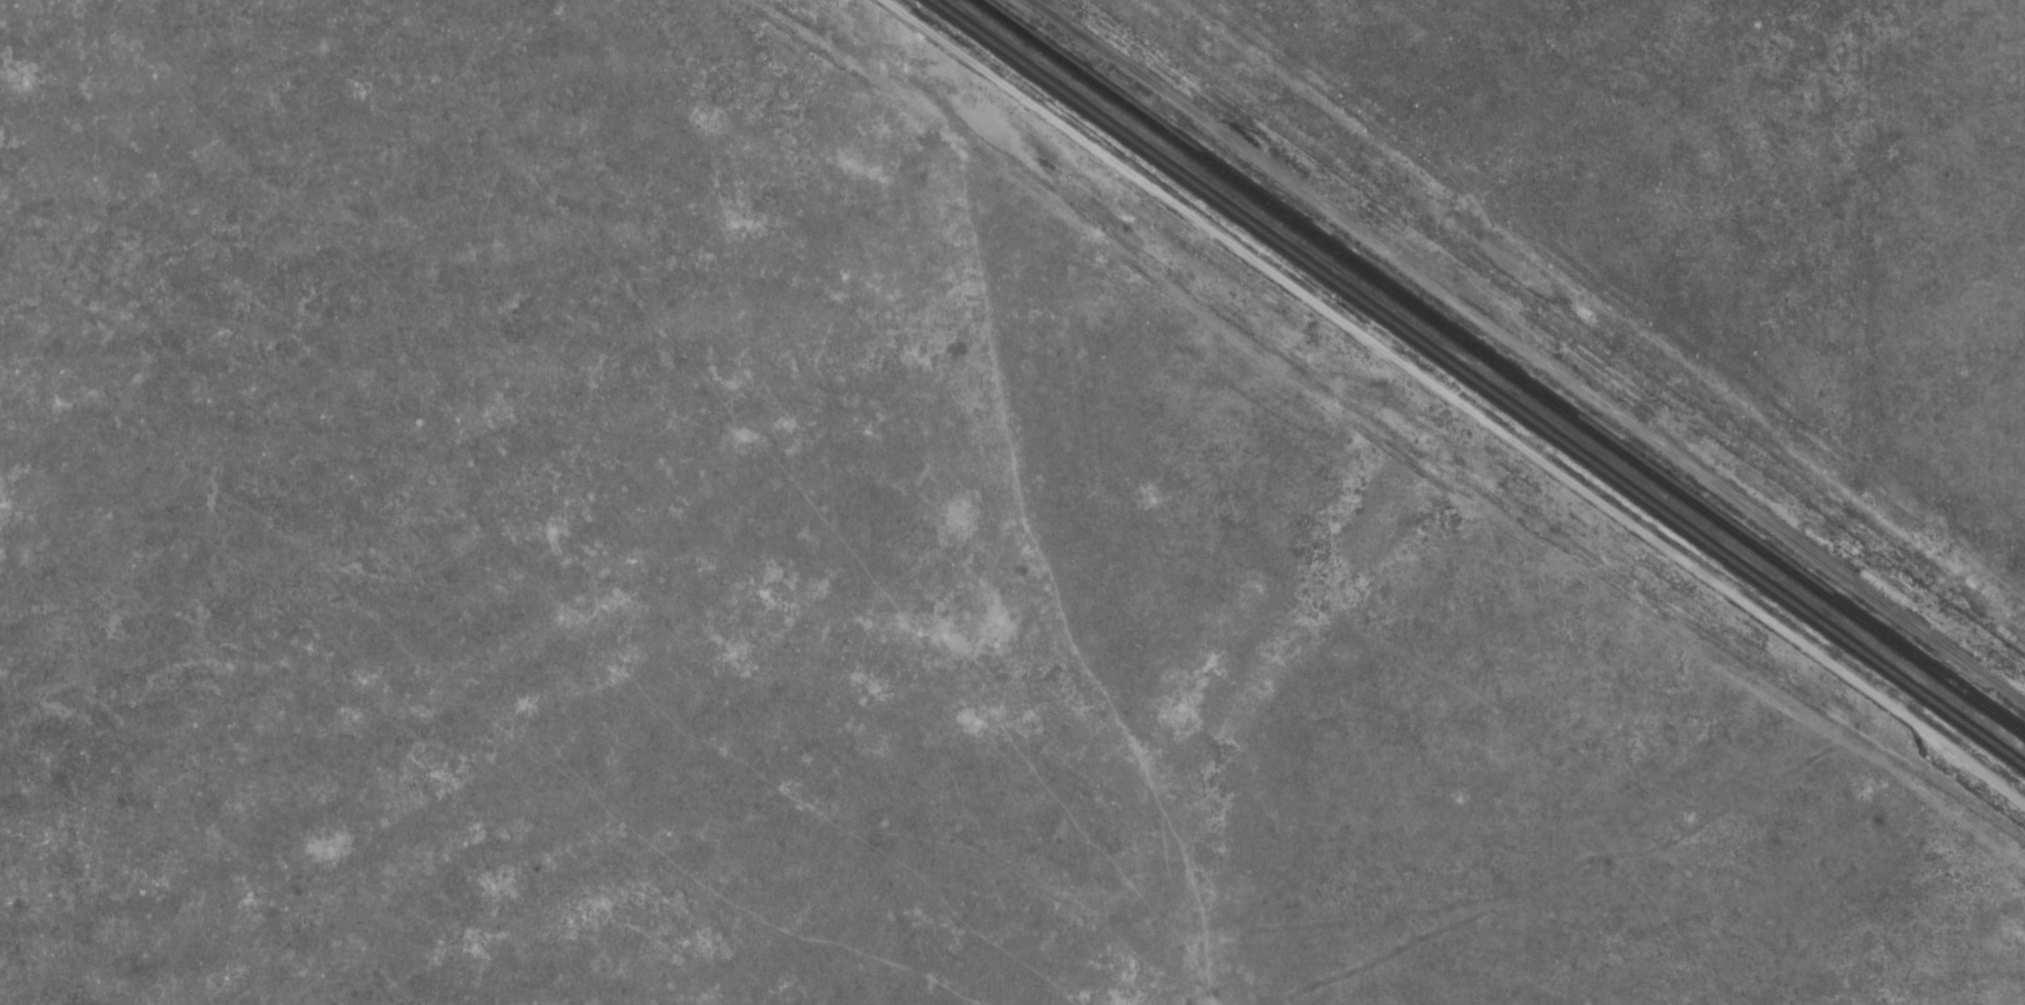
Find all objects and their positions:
railway: (1501, 367)
railway: (1478, 383)
road: (1342, 447)

